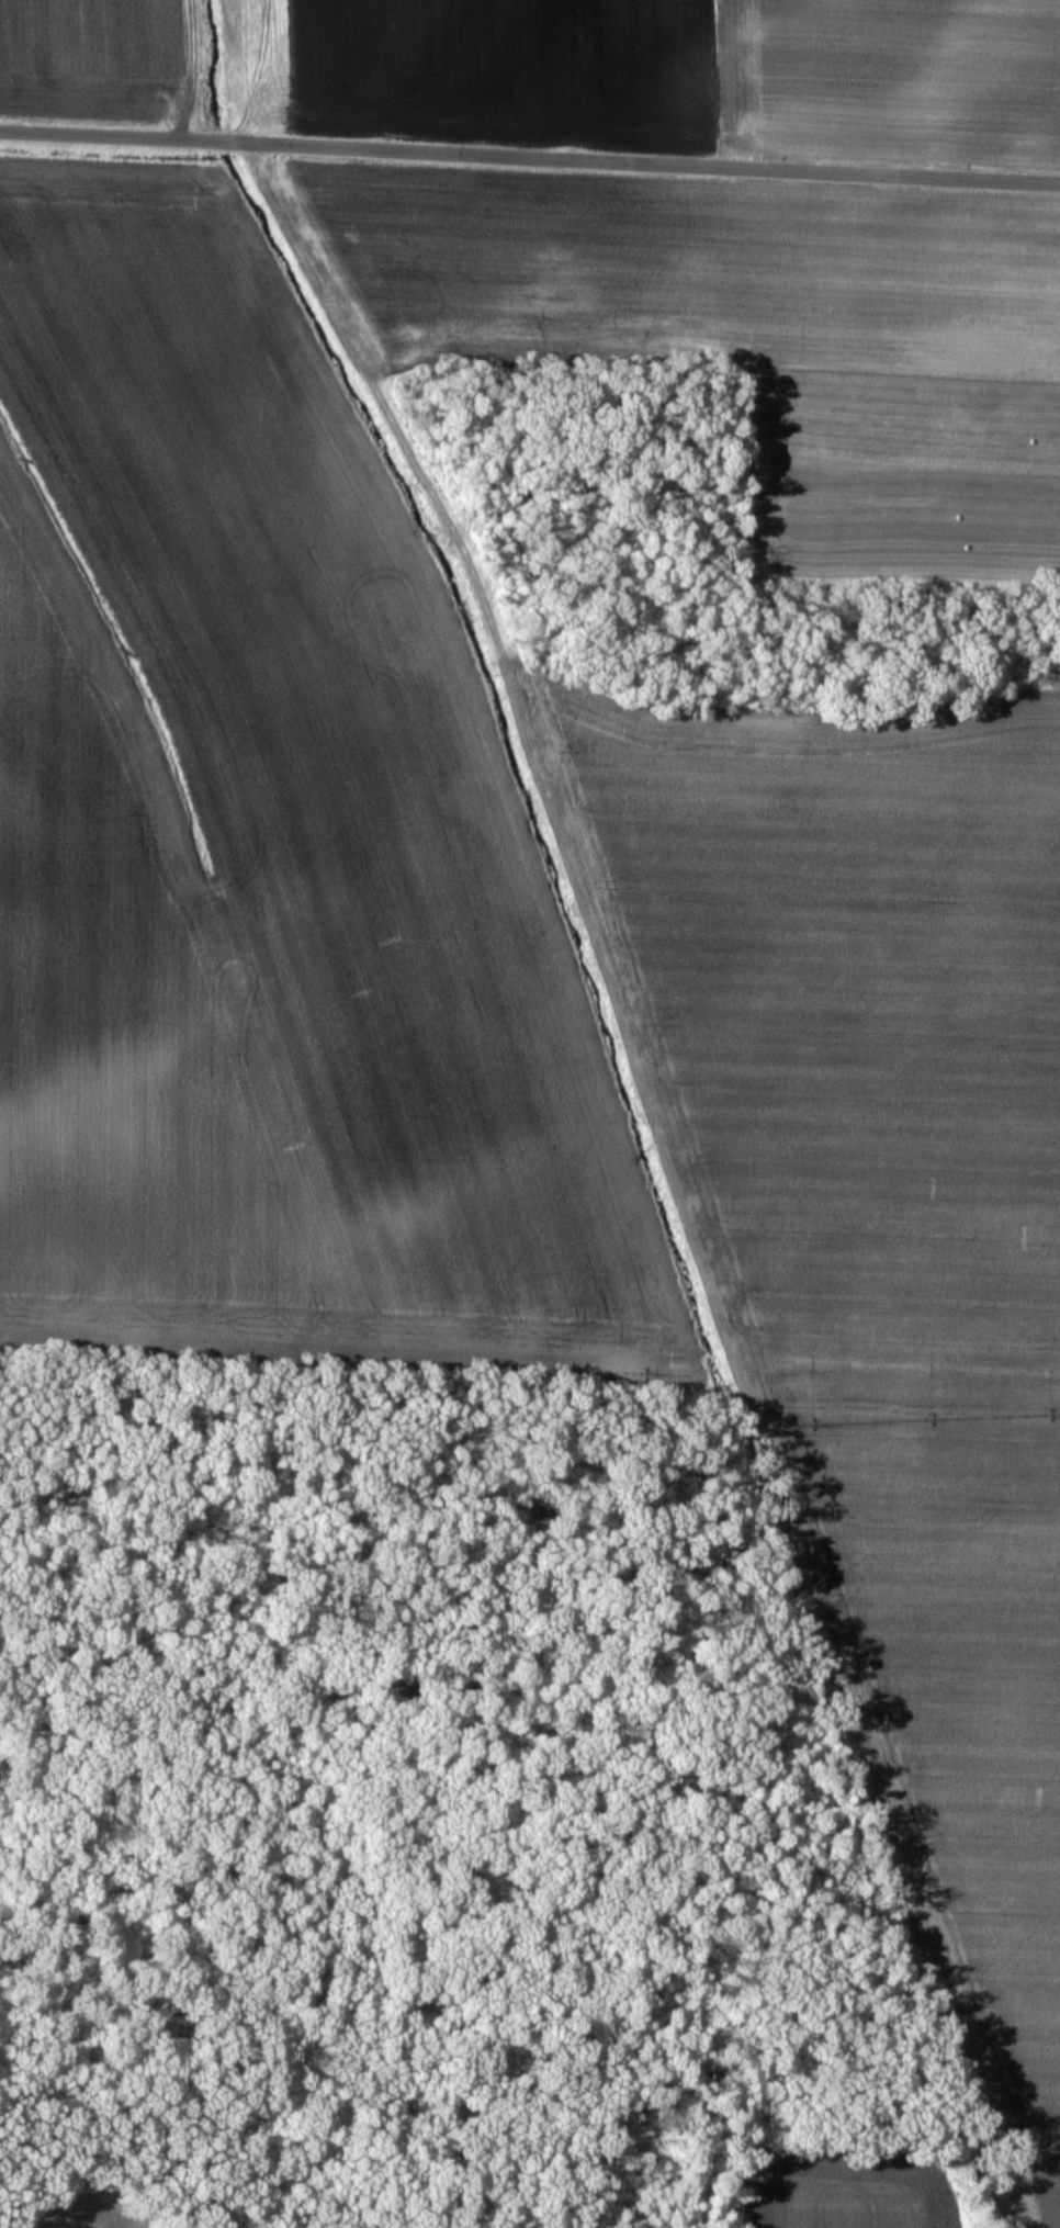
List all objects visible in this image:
road: (530, 151)

